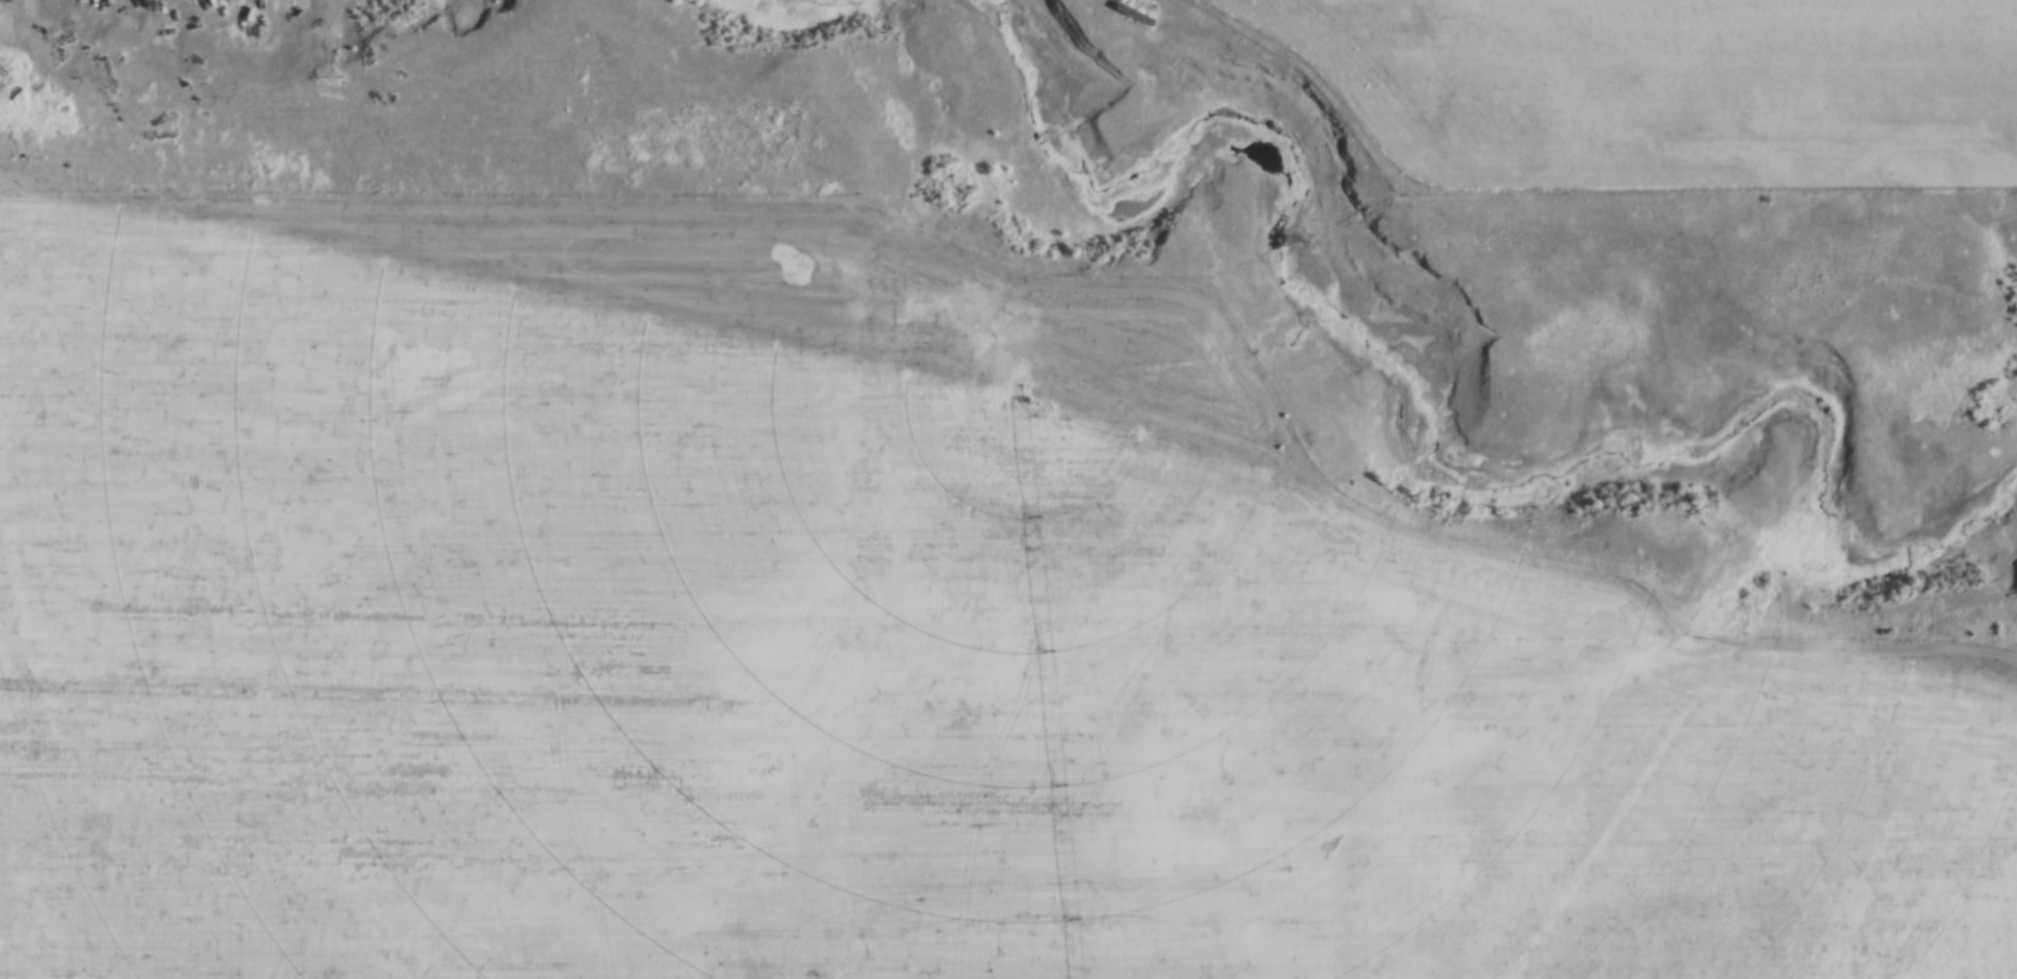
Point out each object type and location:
road: (593, 573)
road: (1417, 665)

